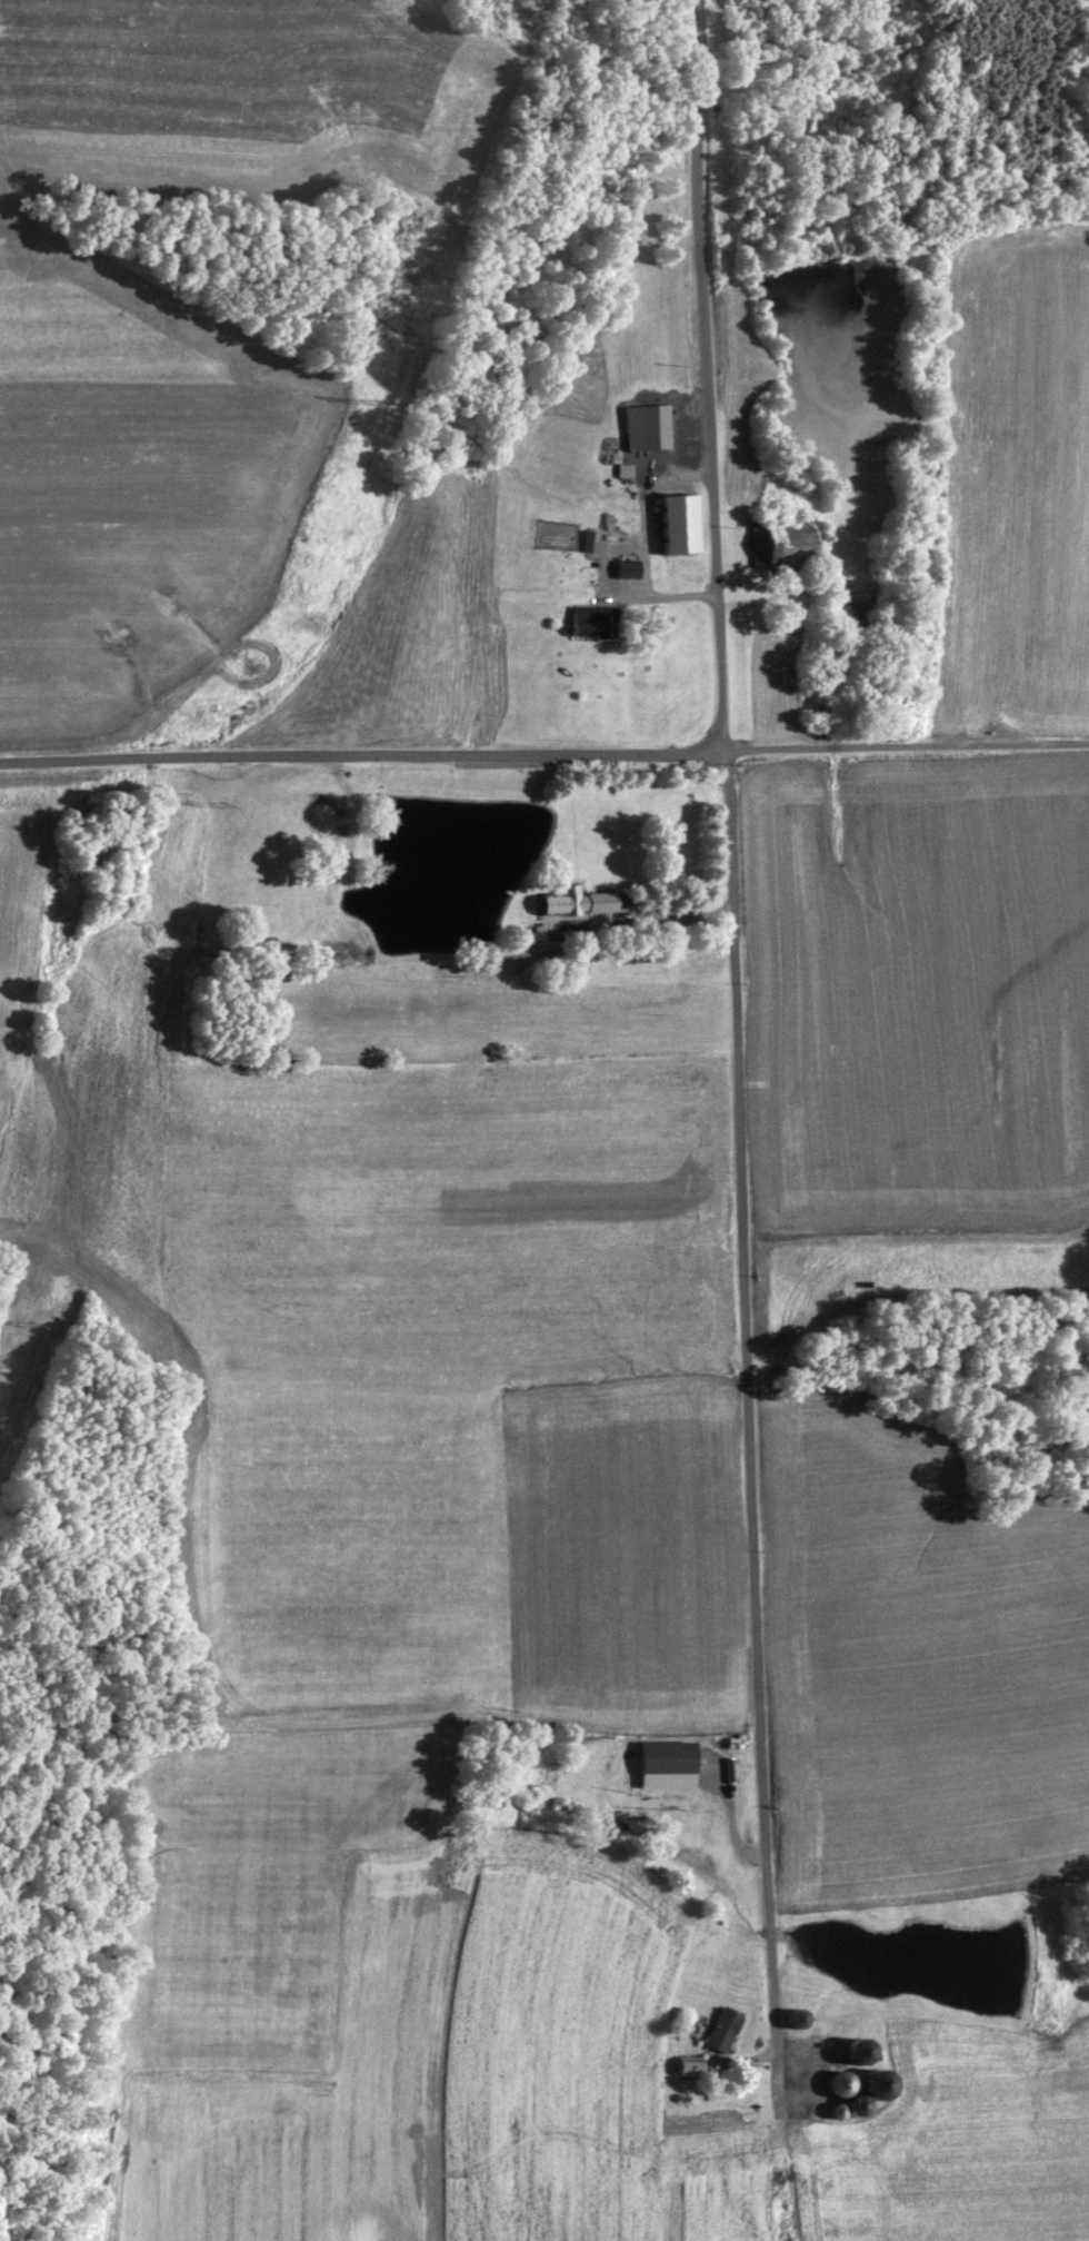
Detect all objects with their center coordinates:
road: (705, 373)
building: (673, 530)
building: (773, 552)
building: (622, 575)
building: (579, 627)
road: (902, 736)
road: (359, 755)
building: (572, 906)
road: (736, 1337)
building: (662, 1769)
building: (717, 2035)
building: (848, 2055)
building: (683, 2072)
building: (868, 2090)
building: (836, 2091)

